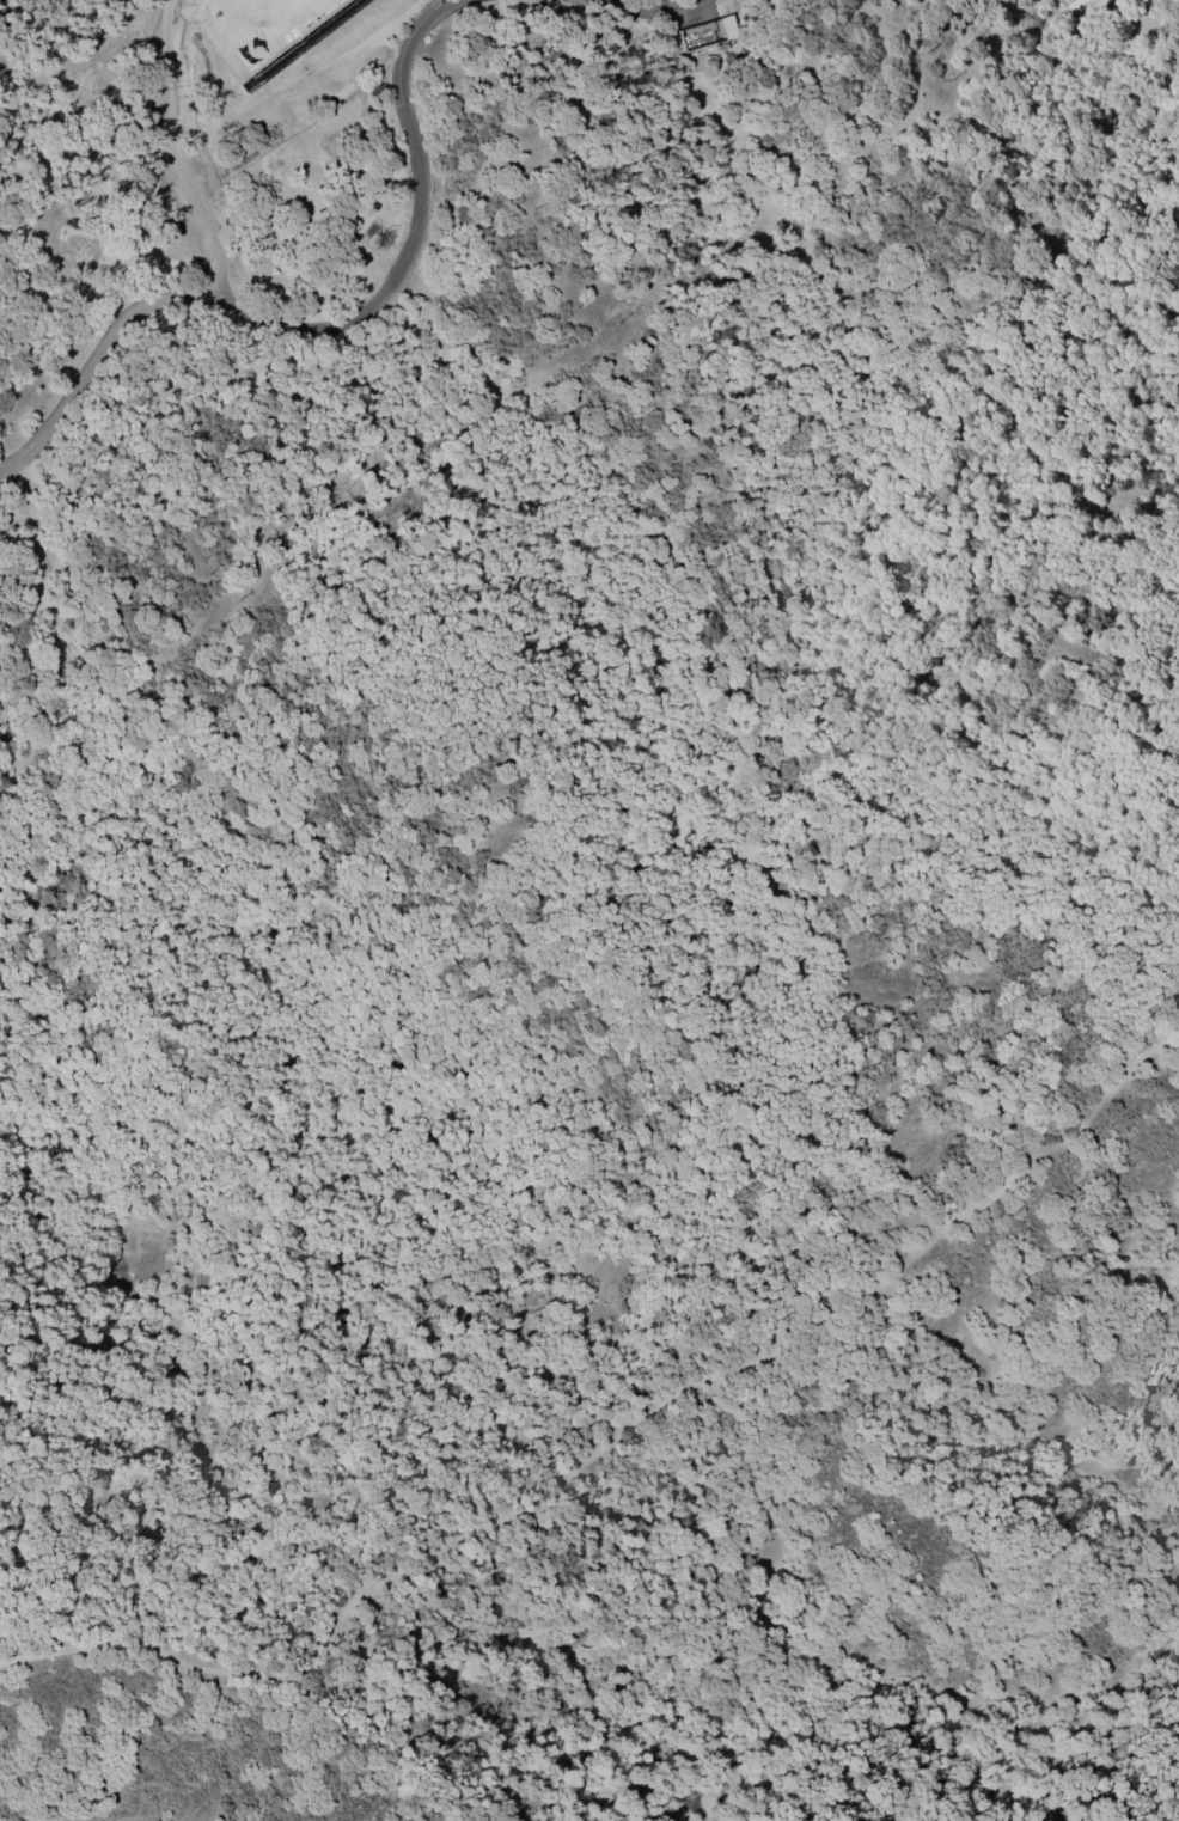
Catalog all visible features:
road: (670, 2)
road: (665, 6)
building: (317, 7)
building: (727, 28)
road: (171, 151)
road: (323, 323)
road: (616, 1440)

